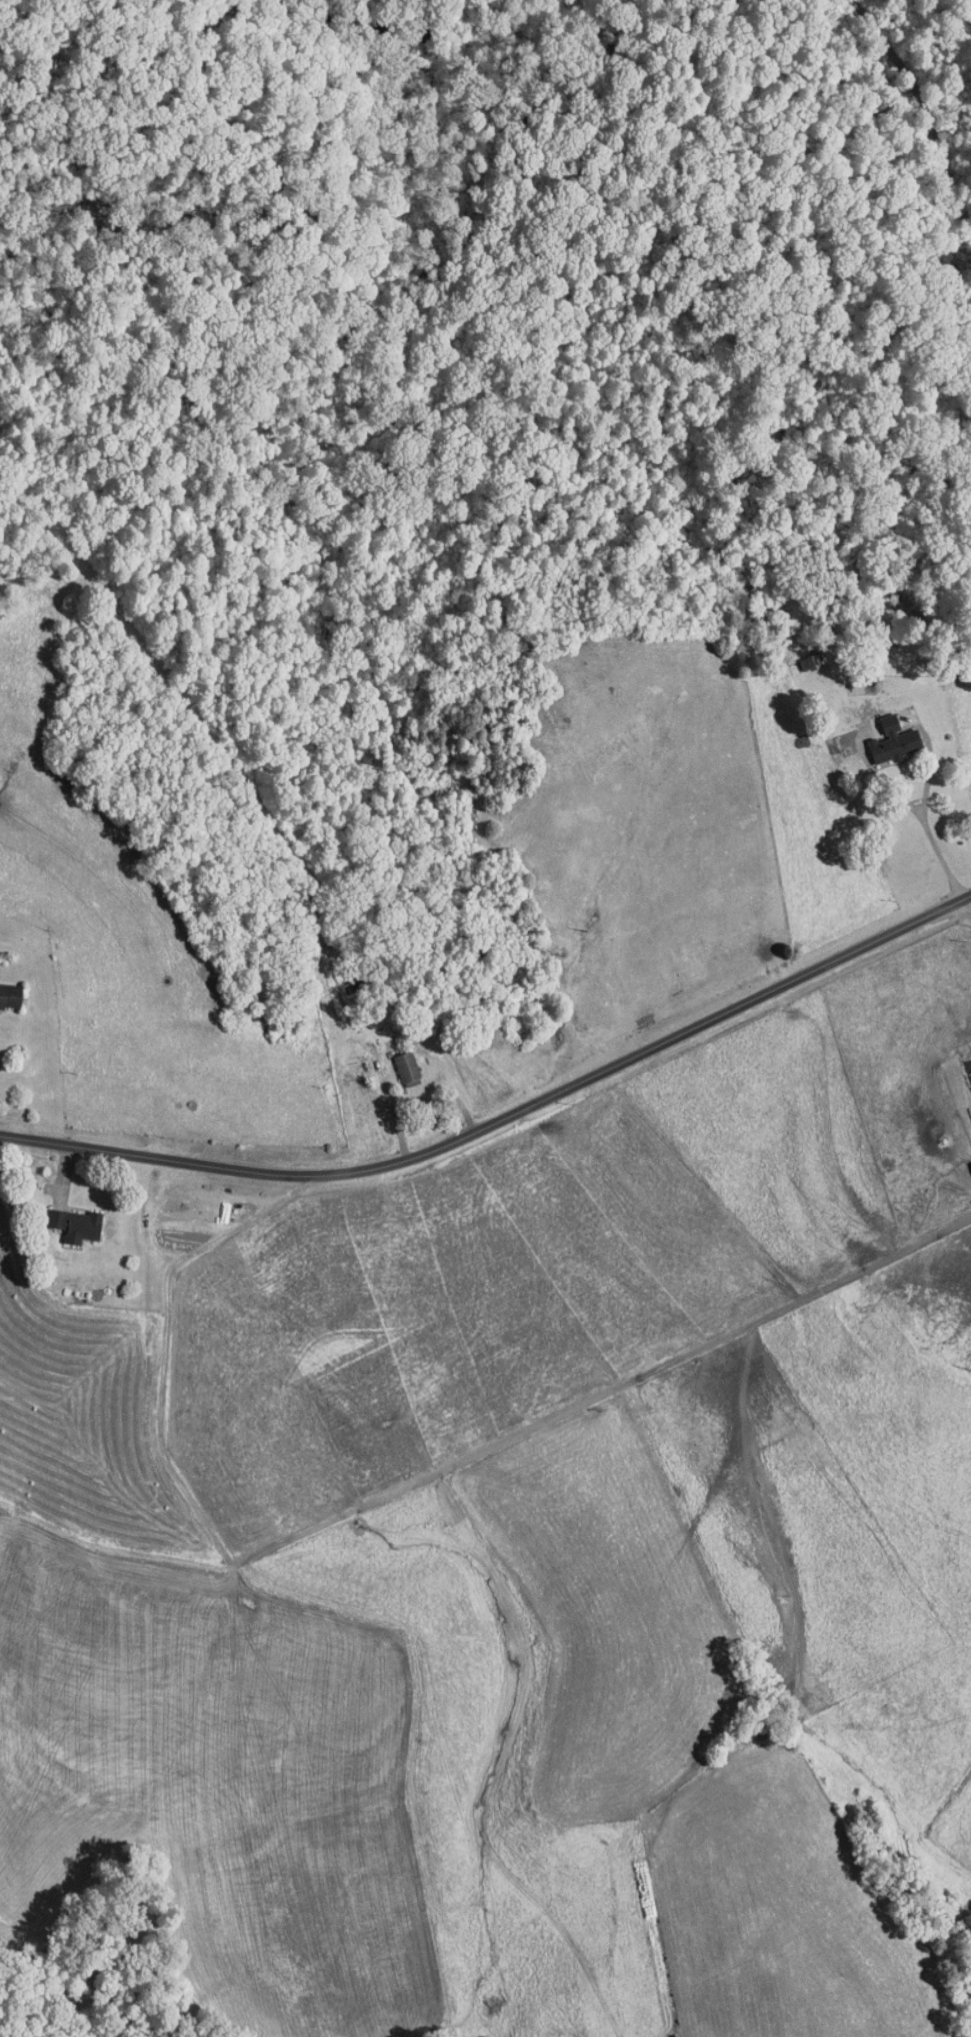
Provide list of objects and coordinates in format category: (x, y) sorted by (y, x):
building: (894, 741)
road: (941, 854)
building: (10, 994)
building: (407, 1066)
road: (502, 1112)
building: (75, 1223)

